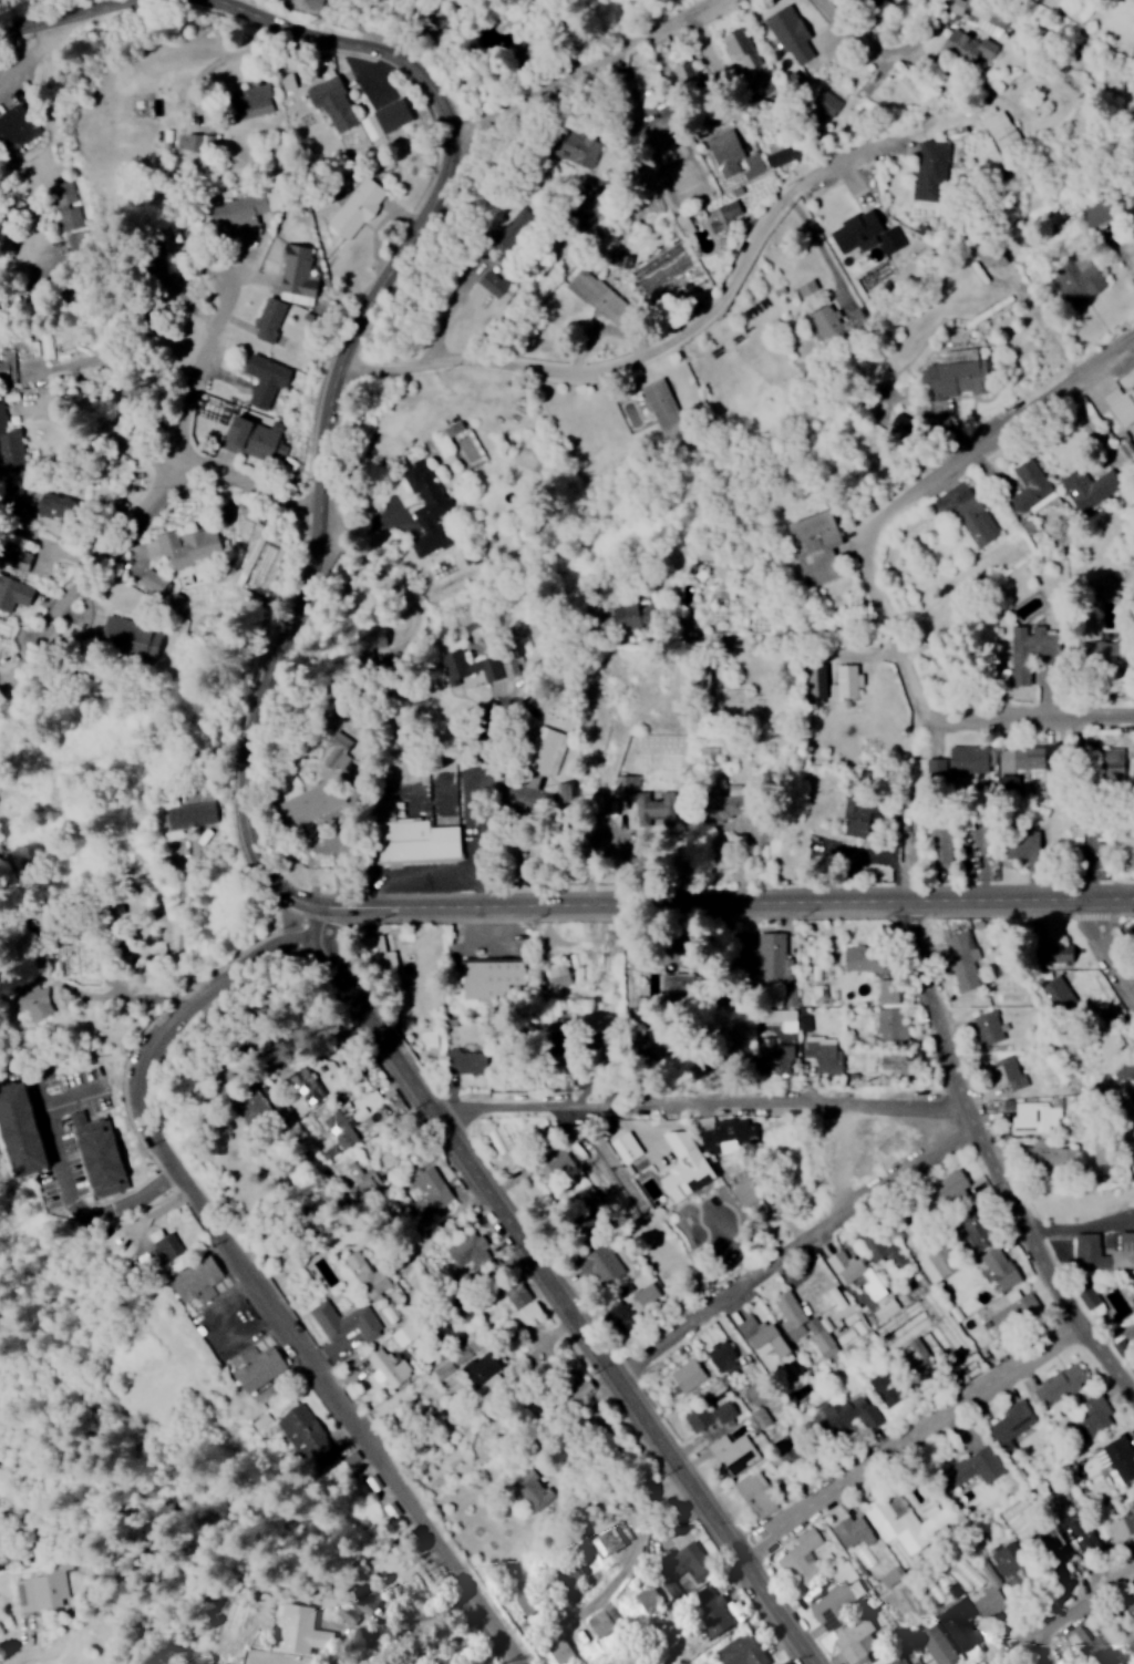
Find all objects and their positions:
building: (878, 2)
road: (243, 3)
building: (978, 17)
road: (60, 25)
building: (792, 34)
road: (855, 35)
building: (971, 47)
building: (742, 49)
road: (590, 54)
road: (13, 55)
building: (687, 72)
building: (255, 101)
building: (828, 102)
building: (334, 103)
building: (394, 115)
building: (16, 126)
building: (1001, 130)
road: (50, 143)
building: (202, 143)
building: (726, 152)
building: (780, 158)
building: (754, 165)
building: (930, 170)
building: (65, 193)
building: (359, 206)
building: (241, 210)
building: (1095, 214)
building: (723, 215)
building: (72, 218)
building: (685, 222)
building: (600, 229)
building: (870, 235)
building: (297, 275)
building: (1081, 278)
building: (494, 283)
building: (807, 287)
building: (600, 297)
building: (270, 318)
road: (709, 320)
building: (824, 323)
road: (204, 368)
building: (8, 369)
building: (267, 378)
road: (344, 379)
building: (956, 380)
building: (1122, 404)
building: (663, 409)
building: (1132, 427)
building: (450, 430)
building: (252, 440)
building: (11, 445)
road: (161, 463)
building: (1030, 486)
building: (1091, 486)
road: (914, 496)
building: (59, 506)
building: (427, 506)
building: (968, 515)
road: (128, 534)
building: (192, 546)
building: (818, 546)
building: (20, 558)
building: (725, 571)
building: (153, 582)
building: (723, 589)
building: (14, 592)
building: (639, 613)
building: (374, 634)
building: (470, 667)
building: (703, 679)
building: (848, 680)
building: (819, 681)
road: (375, 689)
road: (1035, 727)
building: (549, 750)
building: (1025, 758)
building: (969, 759)
building: (1112, 761)
building: (936, 768)
building: (312, 802)
building: (659, 809)
building: (188, 815)
building: (860, 816)
building: (759, 829)
building: (416, 836)
building: (941, 845)
road: (722, 911)
building: (381, 947)
road: (1109, 949)
building: (1065, 952)
building: (866, 958)
building: (777, 964)
building: (493, 978)
building: (678, 984)
building: (1059, 992)
building: (822, 993)
building: (33, 1000)
building: (891, 1009)
building: (780, 1017)
building: (805, 1018)
building: (989, 1027)
building: (826, 1052)
building: (773, 1056)
building: (468, 1060)
building: (904, 1060)
building: (1008, 1074)
building: (1127, 1078)
building: (307, 1085)
road: (707, 1107)
building: (1029, 1116)
building: (78, 1118)
building: (355, 1124)
building: (23, 1129)
building: (723, 1134)
building: (628, 1147)
building: (1050, 1155)
building: (103, 1158)
road: (991, 1169)
building: (701, 1170)
building: (367, 1178)
building: (955, 1184)
building: (430, 1192)
building: (761, 1209)
road: (443, 1225)
building: (978, 1230)
building: (166, 1244)
building: (884, 1247)
building: (1104, 1250)
road: (794, 1252)
building: (471, 1253)
building: (602, 1264)
building: (934, 1267)
building: (1002, 1267)
building: (858, 1273)
building: (369, 1275)
building: (199, 1280)
road: (252, 1281)
building: (1133, 1285)
road: (559, 1290)
building: (518, 1293)
building: (1091, 1297)
building: (842, 1300)
building: (533, 1309)
building: (620, 1314)
building: (1010, 1316)
building: (347, 1322)
building: (804, 1324)
building: (908, 1324)
building: (770, 1342)
building: (724, 1358)
building: (260, 1367)
building: (389, 1367)
building: (485, 1369)
building: (689, 1374)
building: (1058, 1386)
building: (888, 1387)
building: (759, 1391)
building: (847, 1413)
building: (1094, 1416)
building: (713, 1419)
building: (765, 1422)
building: (1013, 1422)
building: (308, 1437)
road: (910, 1445)
building: (734, 1454)
building: (1117, 1457)
building: (977, 1467)
building: (756, 1494)
road: (653, 1497)
building: (393, 1509)
building: (906, 1522)
building: (853, 1531)
building: (1081, 1532)
building: (615, 1541)
building: (802, 1558)
building: (688, 1561)
building: (1014, 1564)
building: (882, 1565)
building: (35, 1593)
building: (648, 1596)
building: (1131, 1598)
building: (365, 1601)
building: (989, 1601)
building: (834, 1603)
building: (711, 1609)
road: (1069, 1620)
building: (601, 1621)
building: (960, 1623)
building: (295, 1627)
building: (853, 1636)
building: (937, 1644)
building: (1090, 1647)
building: (560, 1648)
building: (742, 1650)
road: (1023, 1658)
building: (906, 1660)

